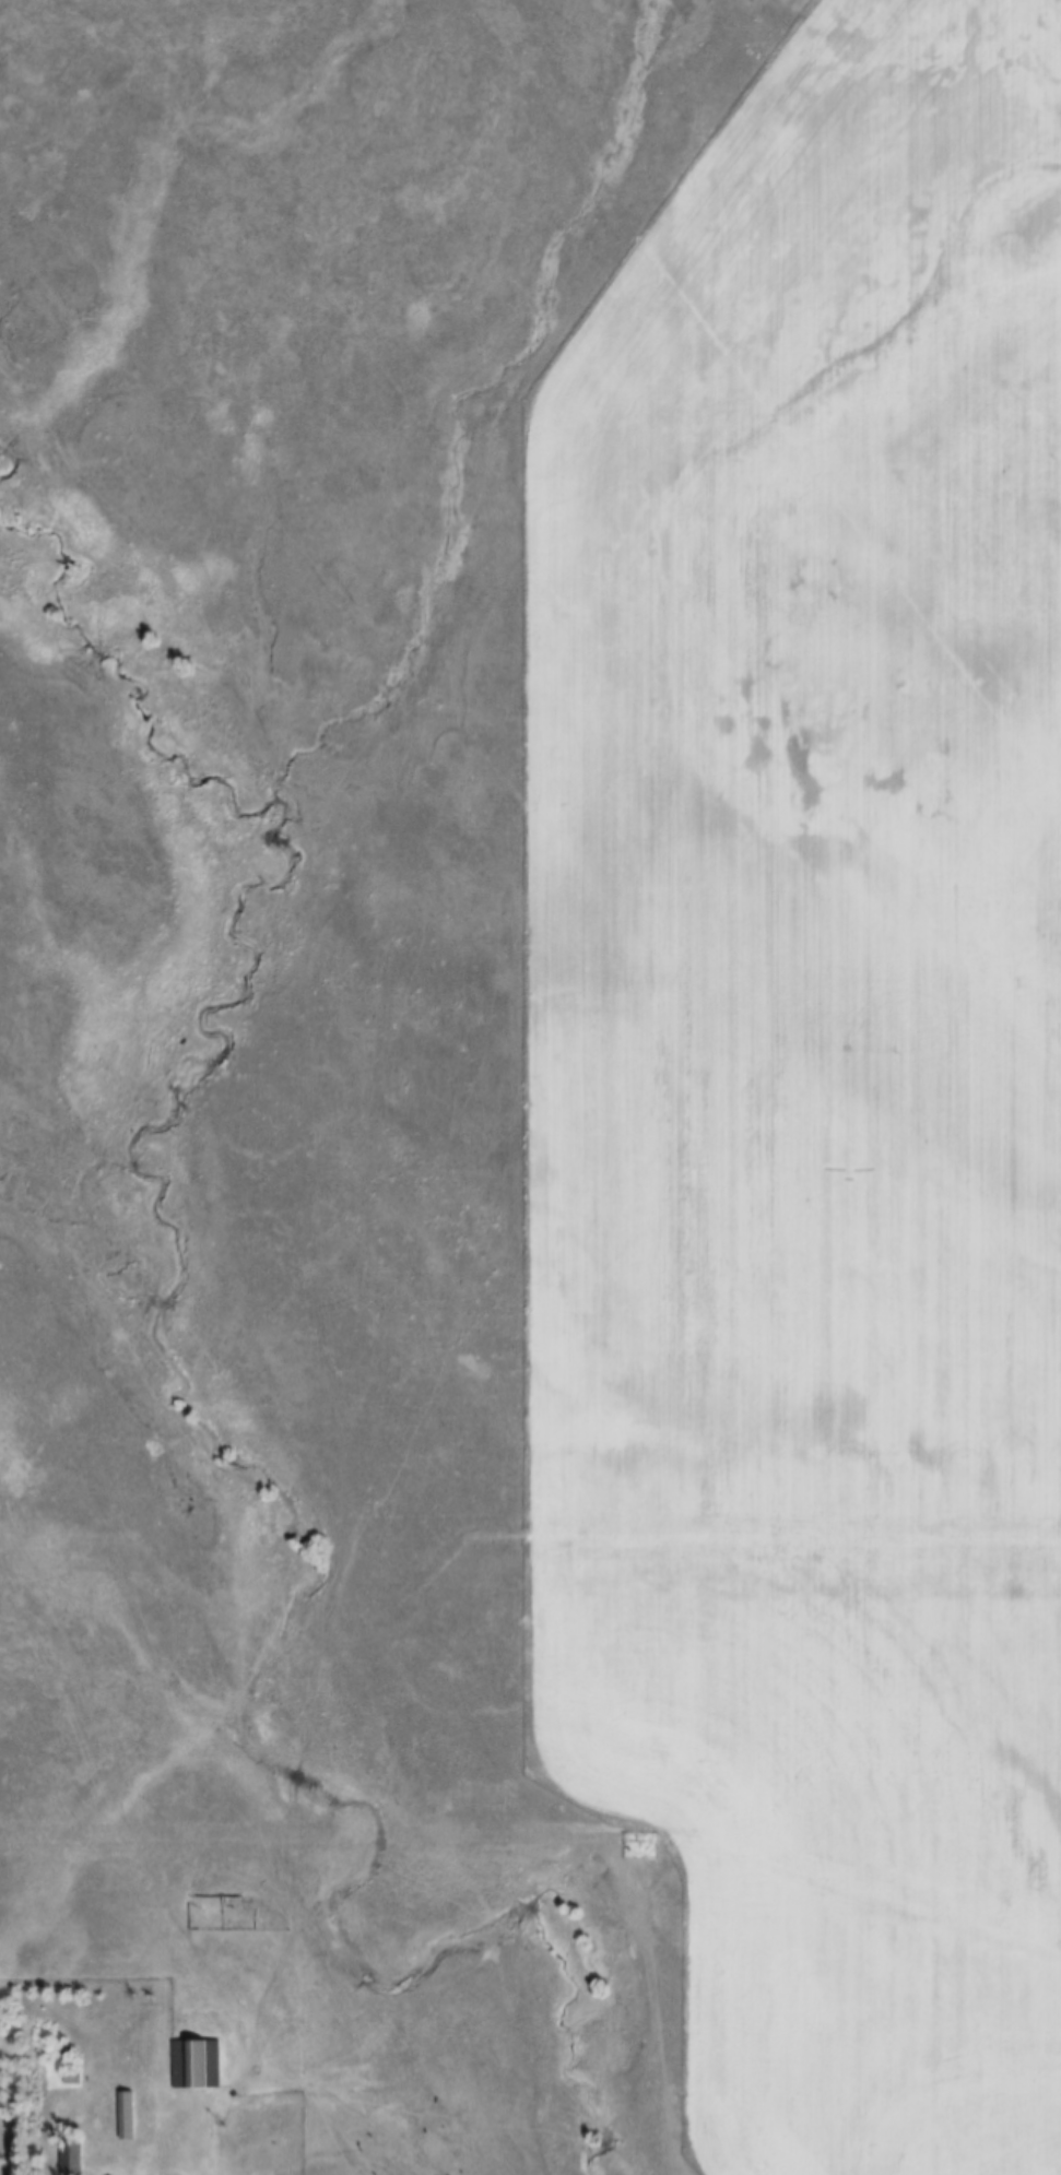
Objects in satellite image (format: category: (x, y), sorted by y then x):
building: (187, 2065)
building: (125, 2115)
building: (68, 2158)

